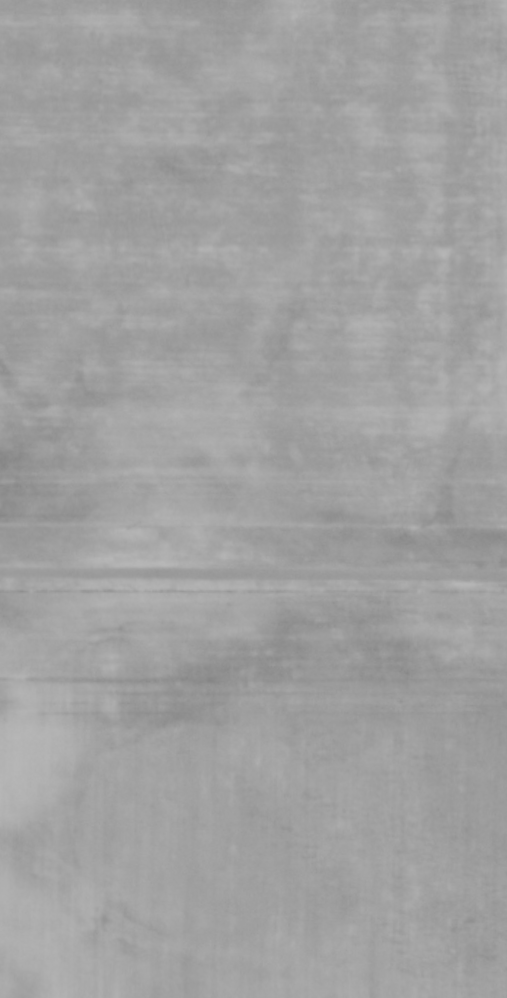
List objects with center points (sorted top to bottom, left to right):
road: (253, 575)

